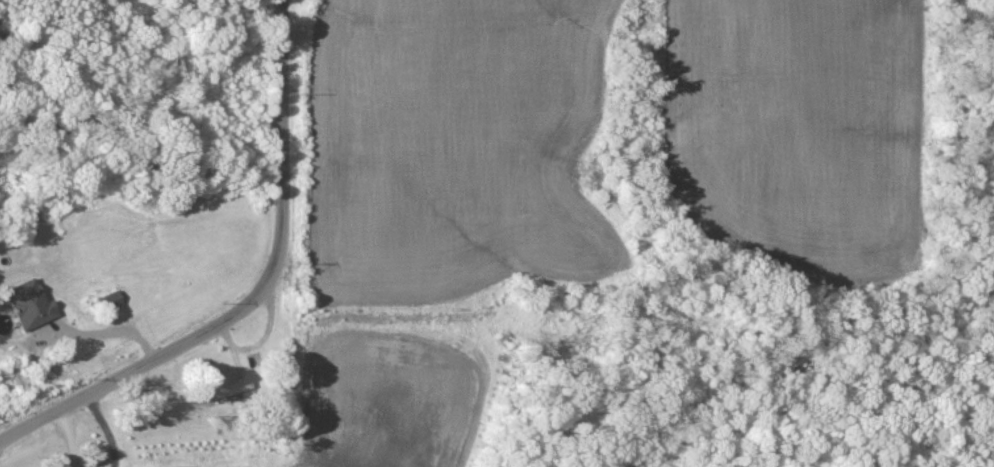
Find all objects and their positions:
road: (275, 260)
building: (110, 302)
building: (28, 306)
building: (225, 383)
road: (32, 424)
road: (70, 437)

